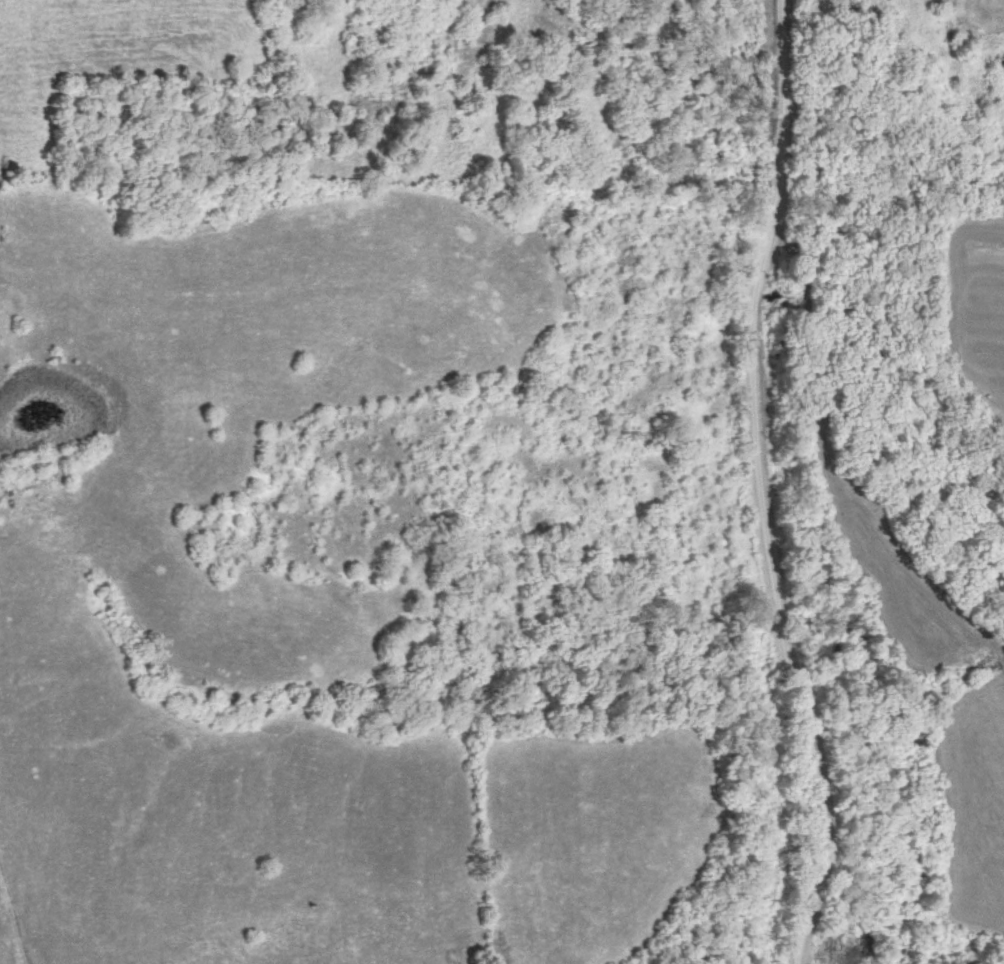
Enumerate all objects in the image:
road: (756, 484)

